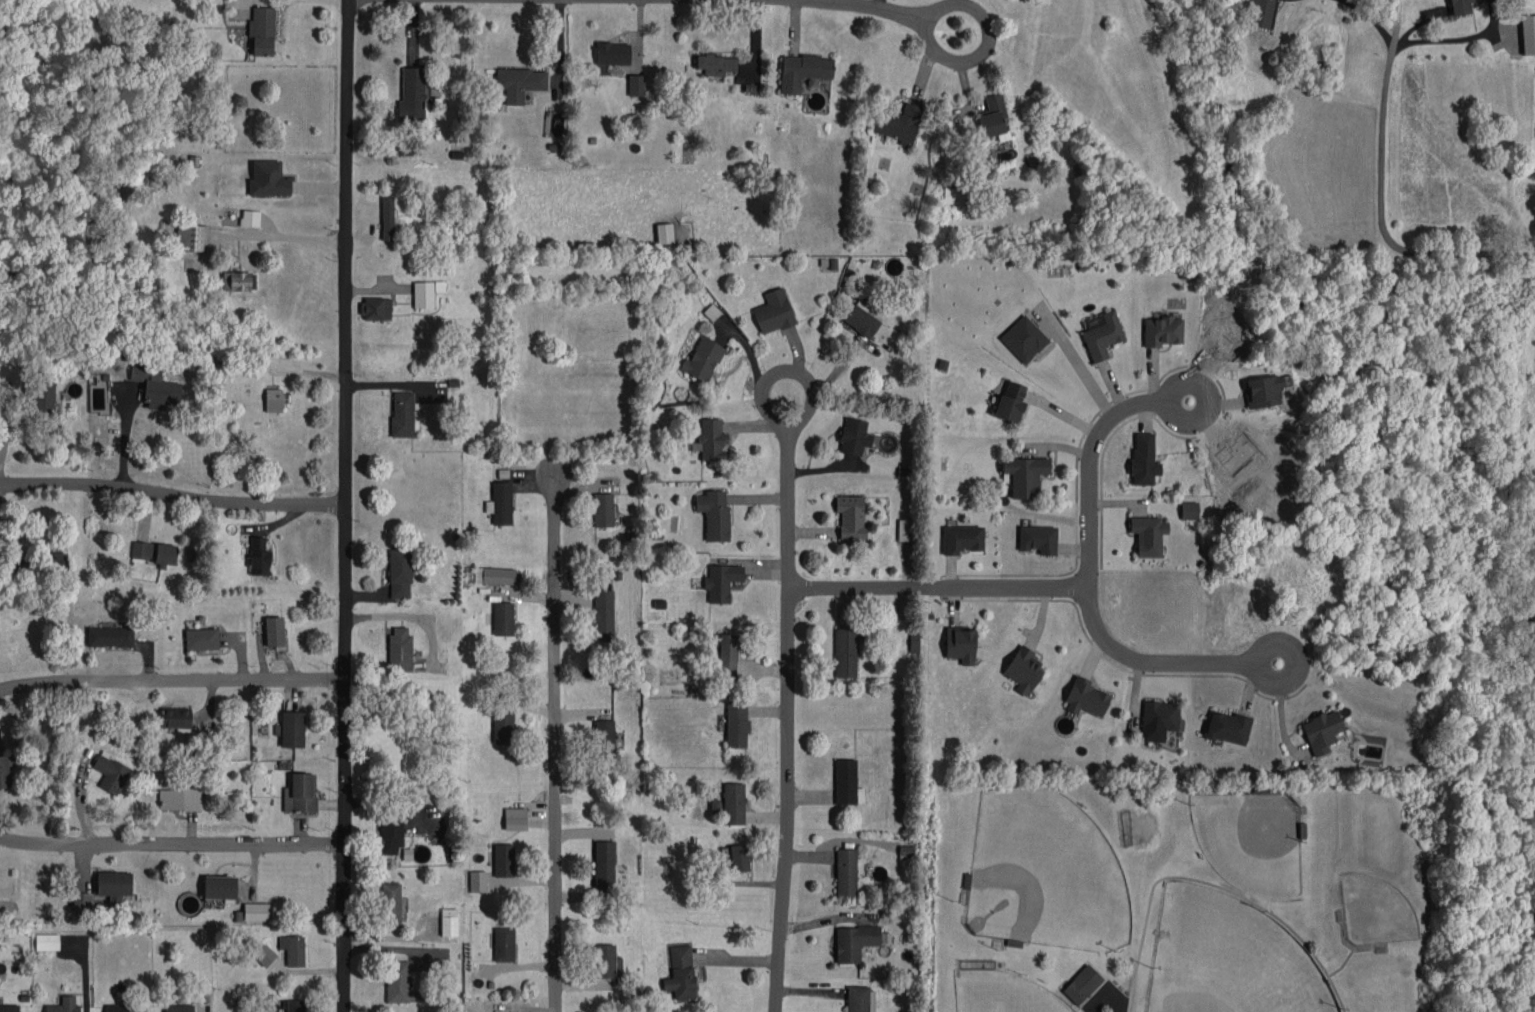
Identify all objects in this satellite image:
road: (866, 6)
building: (1460, 7)
building: (1260, 13)
road: (1372, 20)
building: (262, 30)
building: (1528, 33)
road: (1445, 41)
building: (612, 53)
road: (980, 56)
building: (716, 64)
building: (803, 70)
building: (519, 82)
building: (635, 84)
building: (412, 94)
building: (992, 116)
building: (898, 123)
building: (268, 179)
road: (1384, 193)
building: (953, 195)
building: (250, 217)
building: (387, 217)
building: (664, 233)
road: (284, 235)
building: (190, 237)
building: (238, 280)
building: (426, 292)
building: (376, 308)
building: (773, 311)
building: (711, 312)
building: (861, 318)
building: (1162, 330)
building: (1102, 335)
building: (1023, 338)
building: (702, 359)
road: (1080, 365)
road: (801, 376)
building: (155, 387)
building: (1261, 390)
building: (43, 399)
building: (273, 399)
building: (1011, 401)
building: (403, 413)
building: (854, 436)
road: (124, 437)
building: (710, 439)
building: (1143, 459)
building: (1025, 474)
road: (172, 495)
building: (500, 503)
road: (345, 505)
building: (603, 509)
building: (1188, 510)
building: (714, 514)
building: (850, 517)
building: (905, 529)
building: (1148, 534)
building: (961, 538)
building: (1037, 539)
building: (154, 552)
building: (258, 556)
building: (56, 562)
building: (399, 573)
building: (494, 575)
road: (1089, 578)
building: (721, 581)
road: (941, 589)
building: (603, 615)
building: (502, 618)
building: (274, 631)
building: (110, 636)
building: (201, 638)
building: (960, 644)
building: (400, 648)
building: (845, 652)
building: (727, 657)
building: (1023, 669)
road: (171, 682)
building: (1086, 697)
building: (176, 718)
road: (790, 722)
building: (736, 723)
building: (502, 727)
building: (1227, 727)
building: (290, 728)
building: (1321, 731)
building: (604, 736)
road: (556, 742)
building: (6, 768)
building: (111, 773)
building: (845, 781)
building: (300, 793)
building: (179, 798)
building: (733, 803)
building: (715, 805)
building: (515, 818)
building: (390, 834)
road: (170, 843)
building: (739, 857)
building: (503, 859)
building: (604, 865)
building: (846, 871)
park: (1034, 877)
building: (477, 881)
building: (114, 885)
building: (219, 886)
building: (82, 902)
building: (390, 904)
building: (256, 911)
building: (448, 921)
building: (47, 941)
building: (854, 941)
building: (503, 944)
building: (293, 949)
building: (264, 955)
park: (1229, 958)
building: (606, 960)
building: (680, 972)
building: (397, 981)
building: (1082, 984)
park: (1006, 993)
building: (860, 999)
building: (64, 1005)
building: (295, 1005)
building: (9, 1007)
building: (122, 1007)
road: (1105, 1007)
building: (178, 1008)

